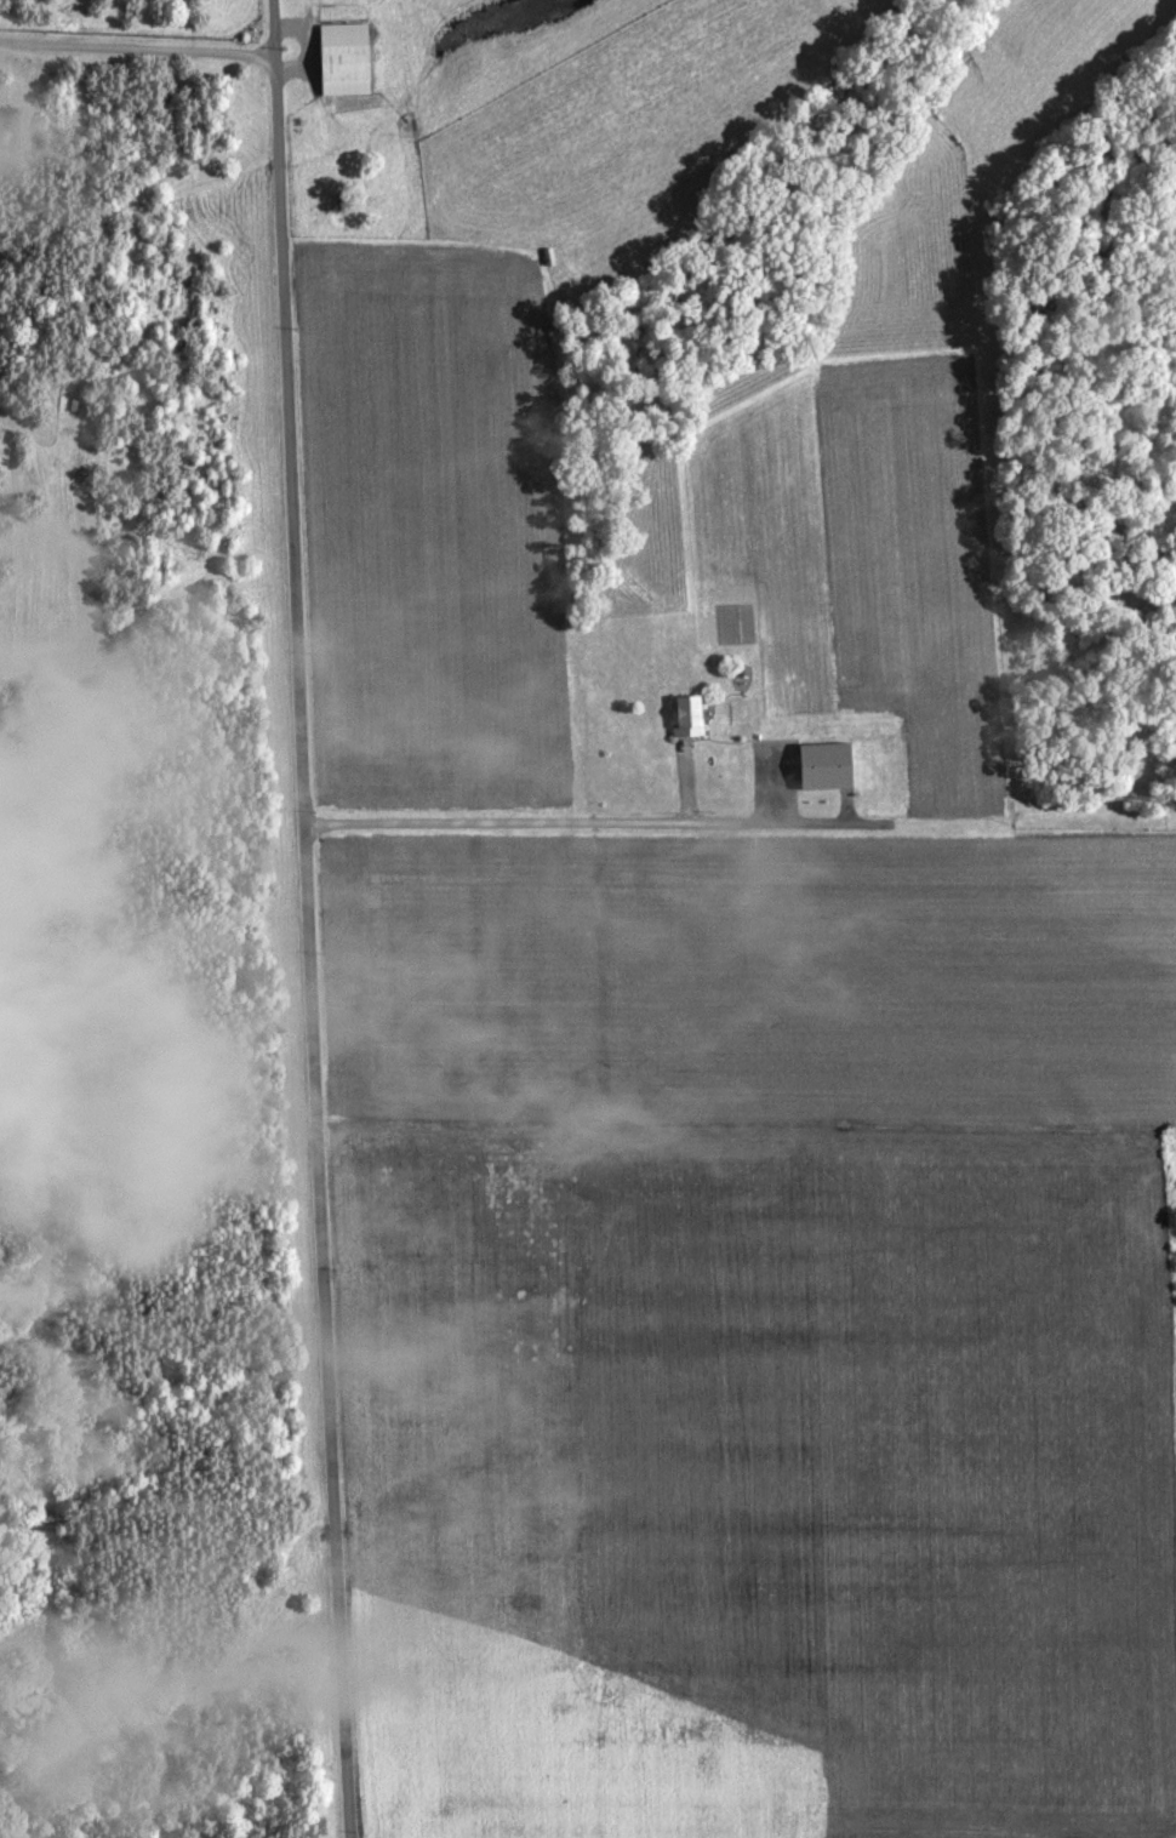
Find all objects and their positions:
road: (136, 48)
building: (333, 64)
building: (677, 721)
building: (815, 771)
road: (306, 919)

